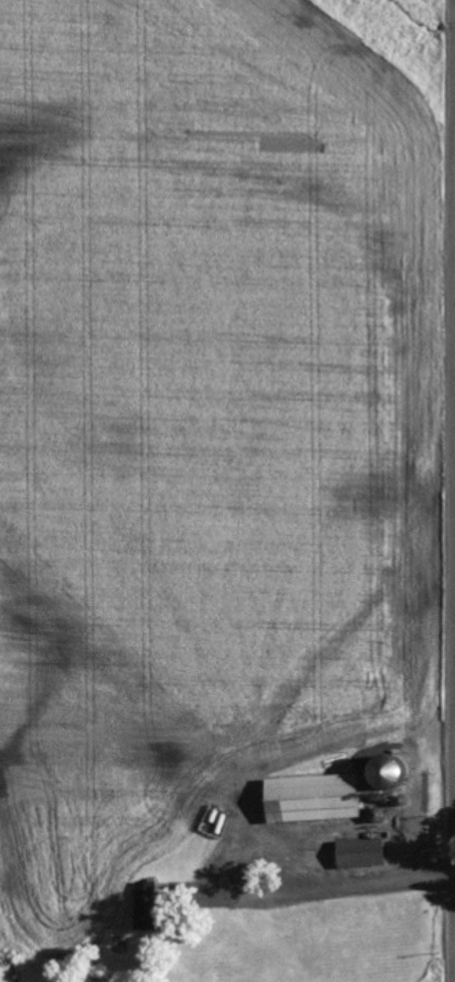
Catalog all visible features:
road: (441, 490)
building: (311, 800)
building: (360, 856)
road: (285, 867)
building: (146, 907)

